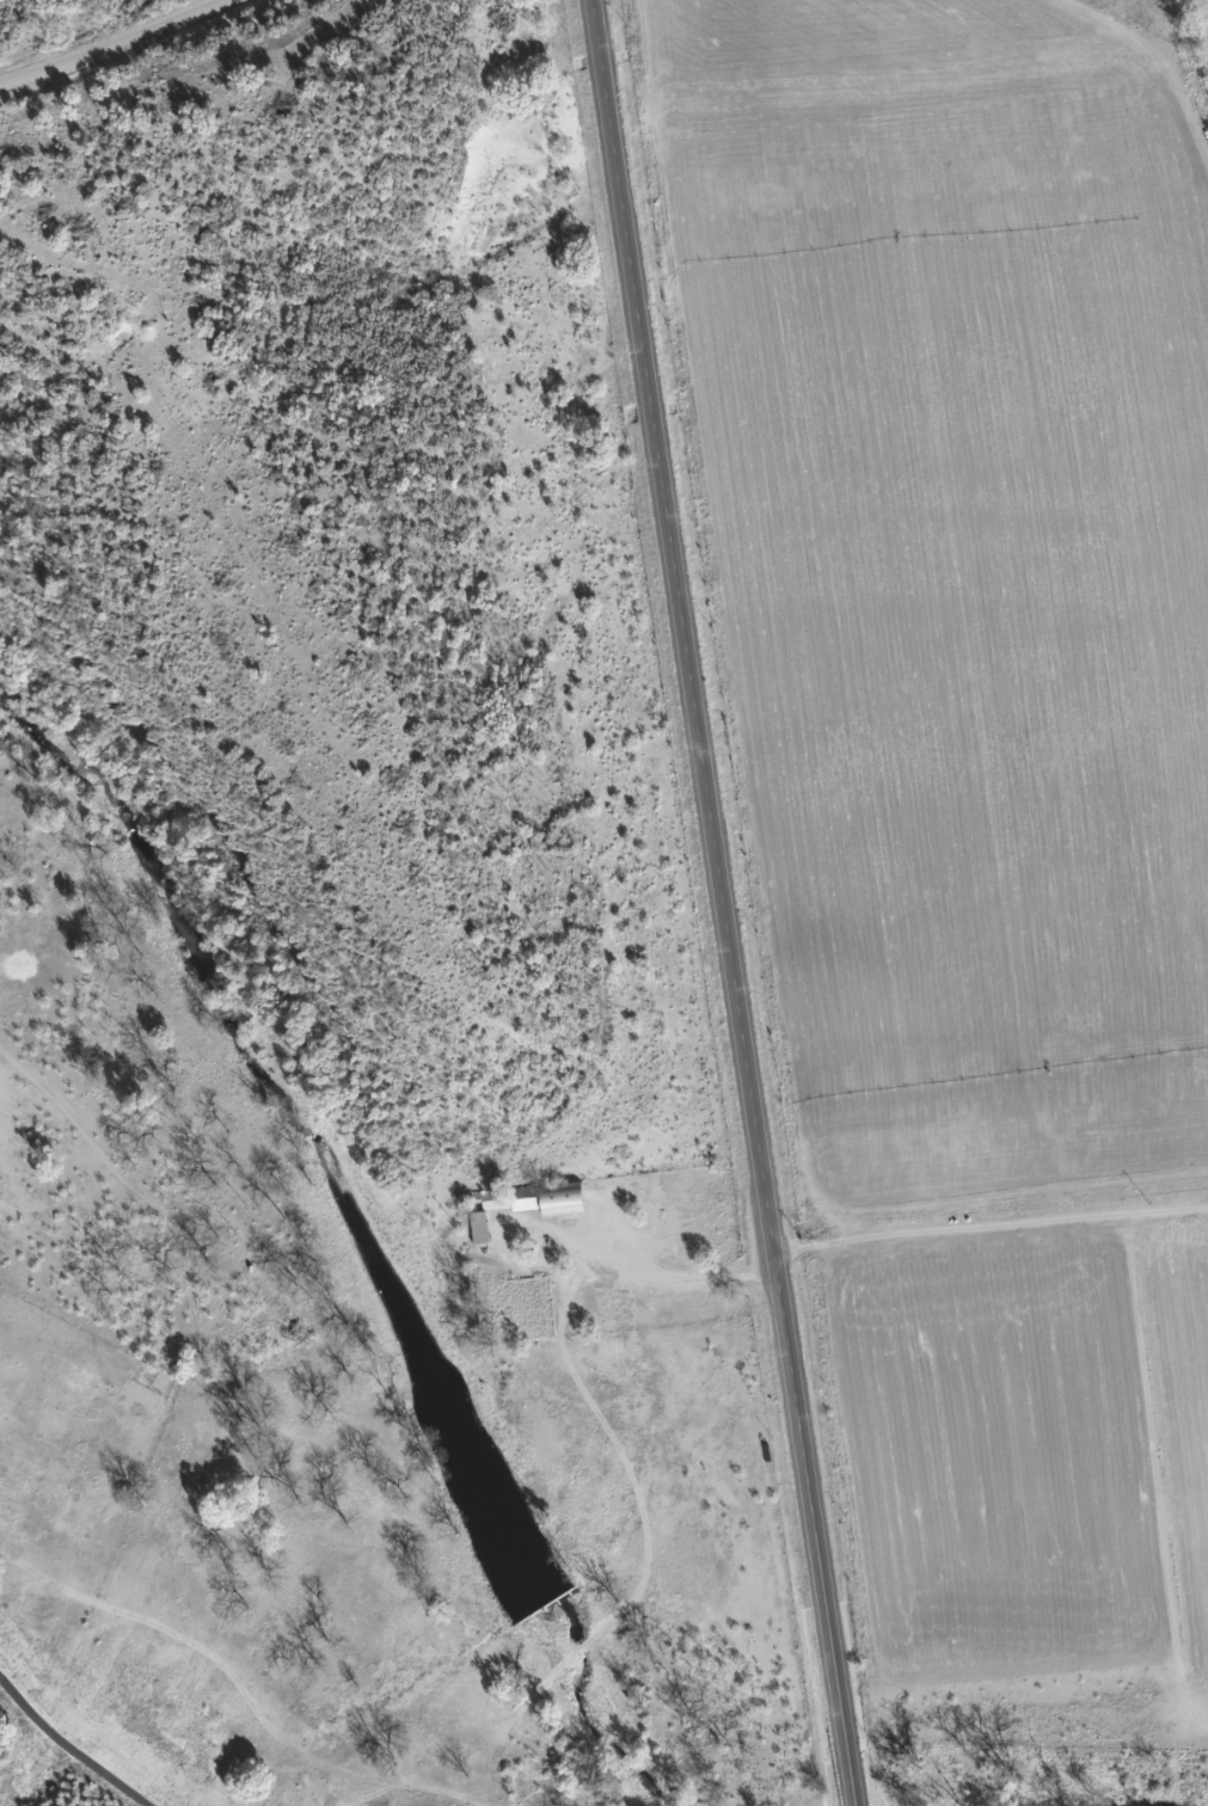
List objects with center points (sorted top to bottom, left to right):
road: (168, 61)
road: (726, 903)
building: (514, 1204)
building: (513, 1307)
road: (220, 1684)

